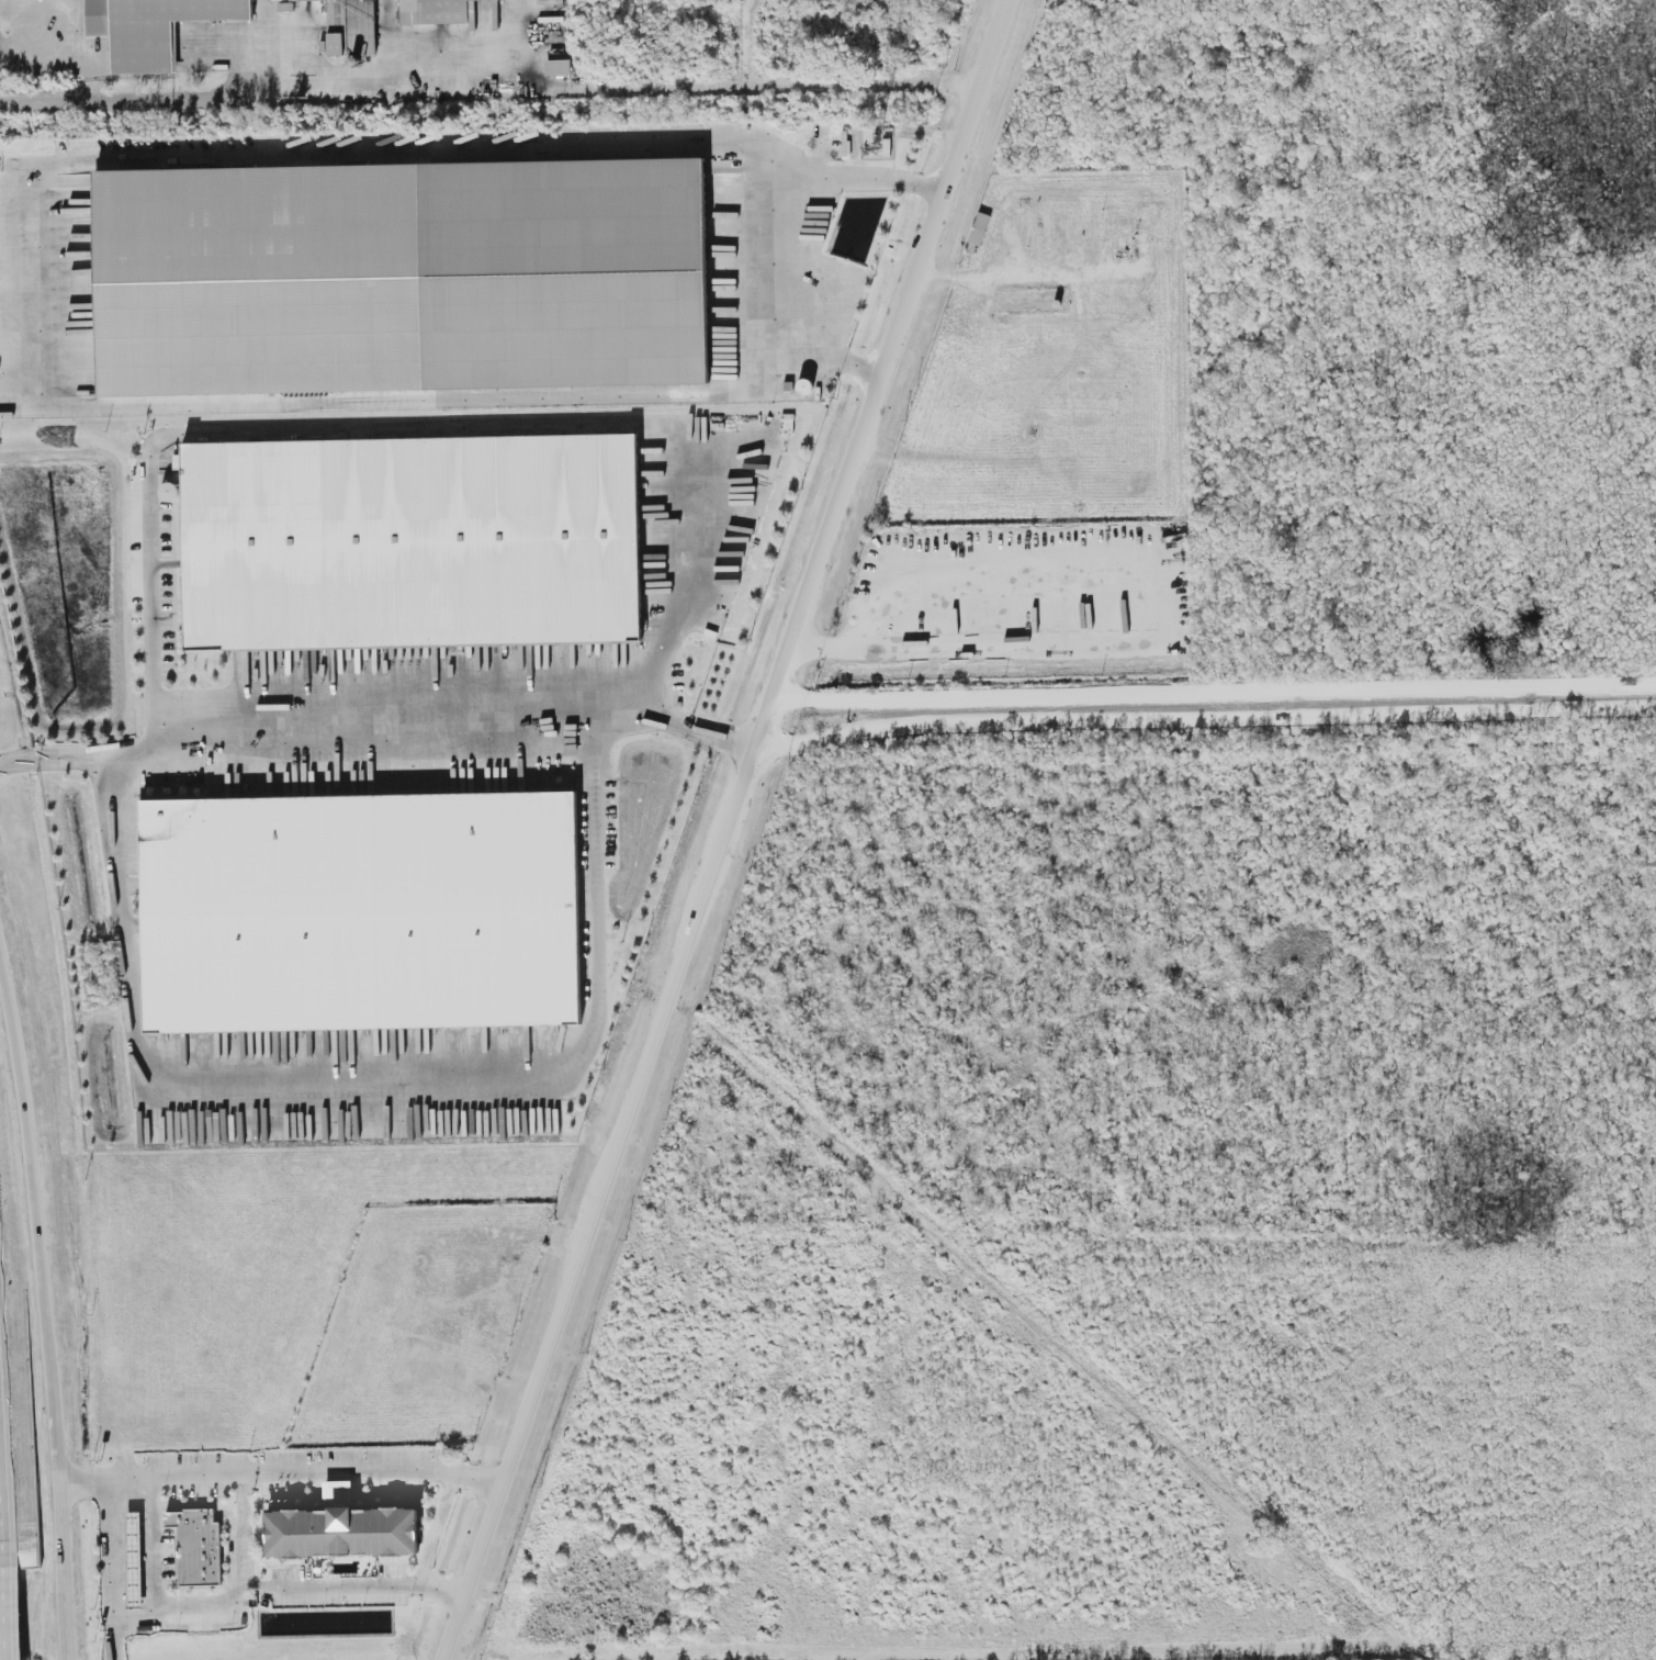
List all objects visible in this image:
building: (435, 11)
road: (65, 19)
building: (351, 26)
building: (154, 29)
building: (559, 68)
road: (539, 75)
road: (56, 102)
road: (305, 147)
building: (980, 228)
building: (401, 277)
road: (833, 354)
road: (563, 389)
road: (405, 427)
road: (1015, 643)
road: (1216, 697)
road: (1208, 724)
road: (382, 734)
road: (733, 830)
building: (362, 912)
road: (373, 1074)
road: (41, 1305)
river: (1077, 1339)
road: (313, 1468)
building: (334, 1490)
road: (438, 1526)
road: (245, 1530)
building: (342, 1532)
road: (113, 1541)
road: (155, 1543)
building: (198, 1546)
building: (135, 1559)
road: (292, 1588)
building: (203, 1625)

